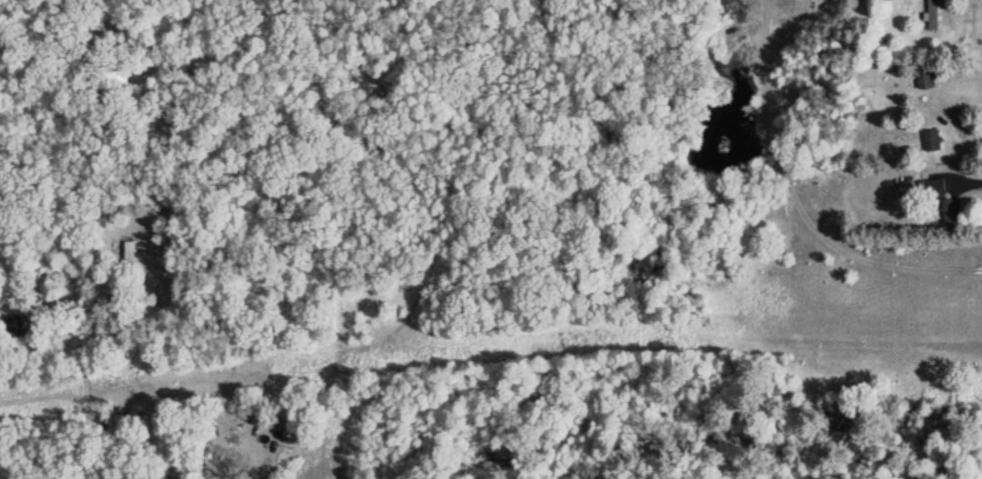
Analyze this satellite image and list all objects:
building: (938, 15)
building: (928, 79)
building: (935, 140)
building: (935, 187)
road: (176, 240)
building: (133, 252)
road: (292, 478)

